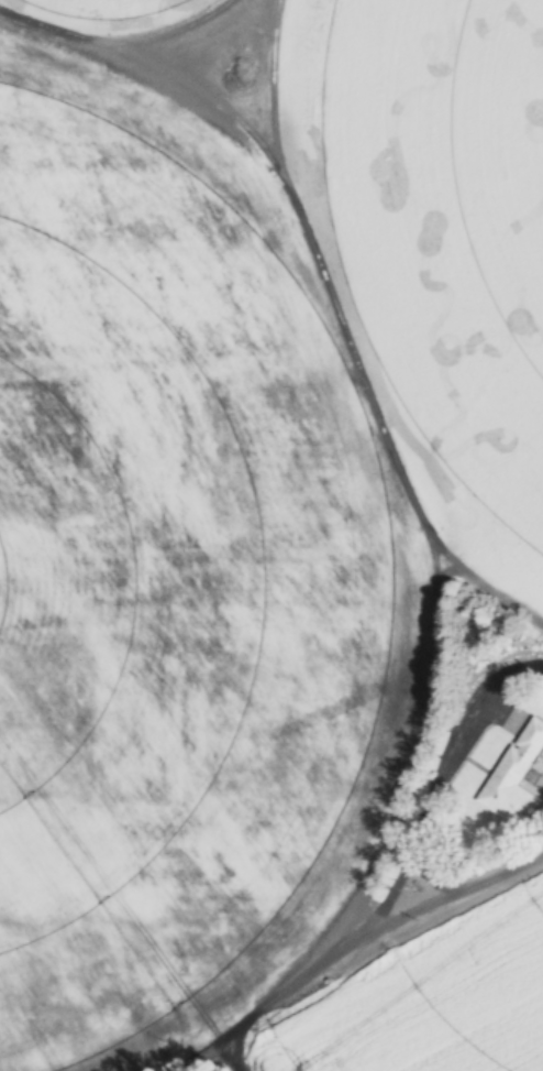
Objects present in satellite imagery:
crop: (447, 218)
crop: (144, 576)
building: (513, 776)

